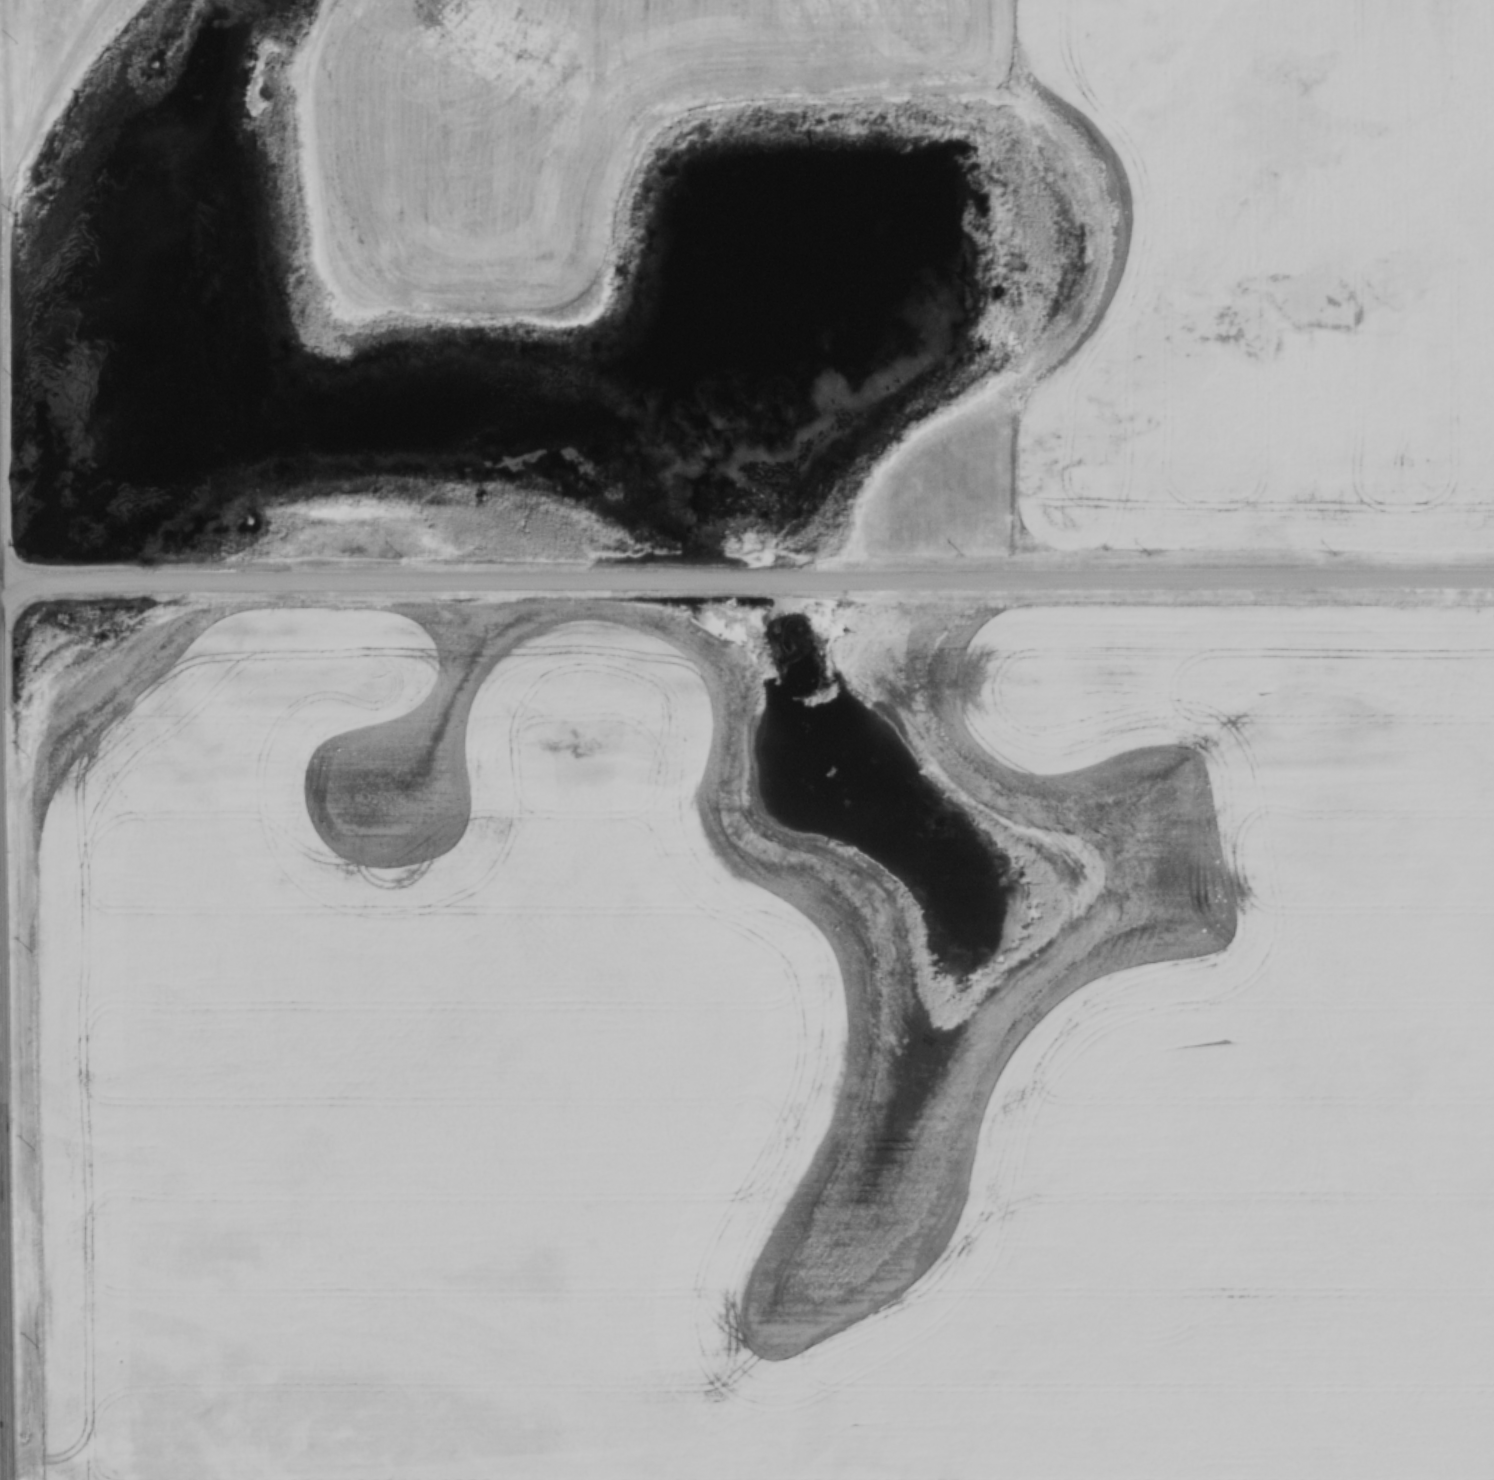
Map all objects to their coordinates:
road: (747, 583)
road: (7, 1006)

